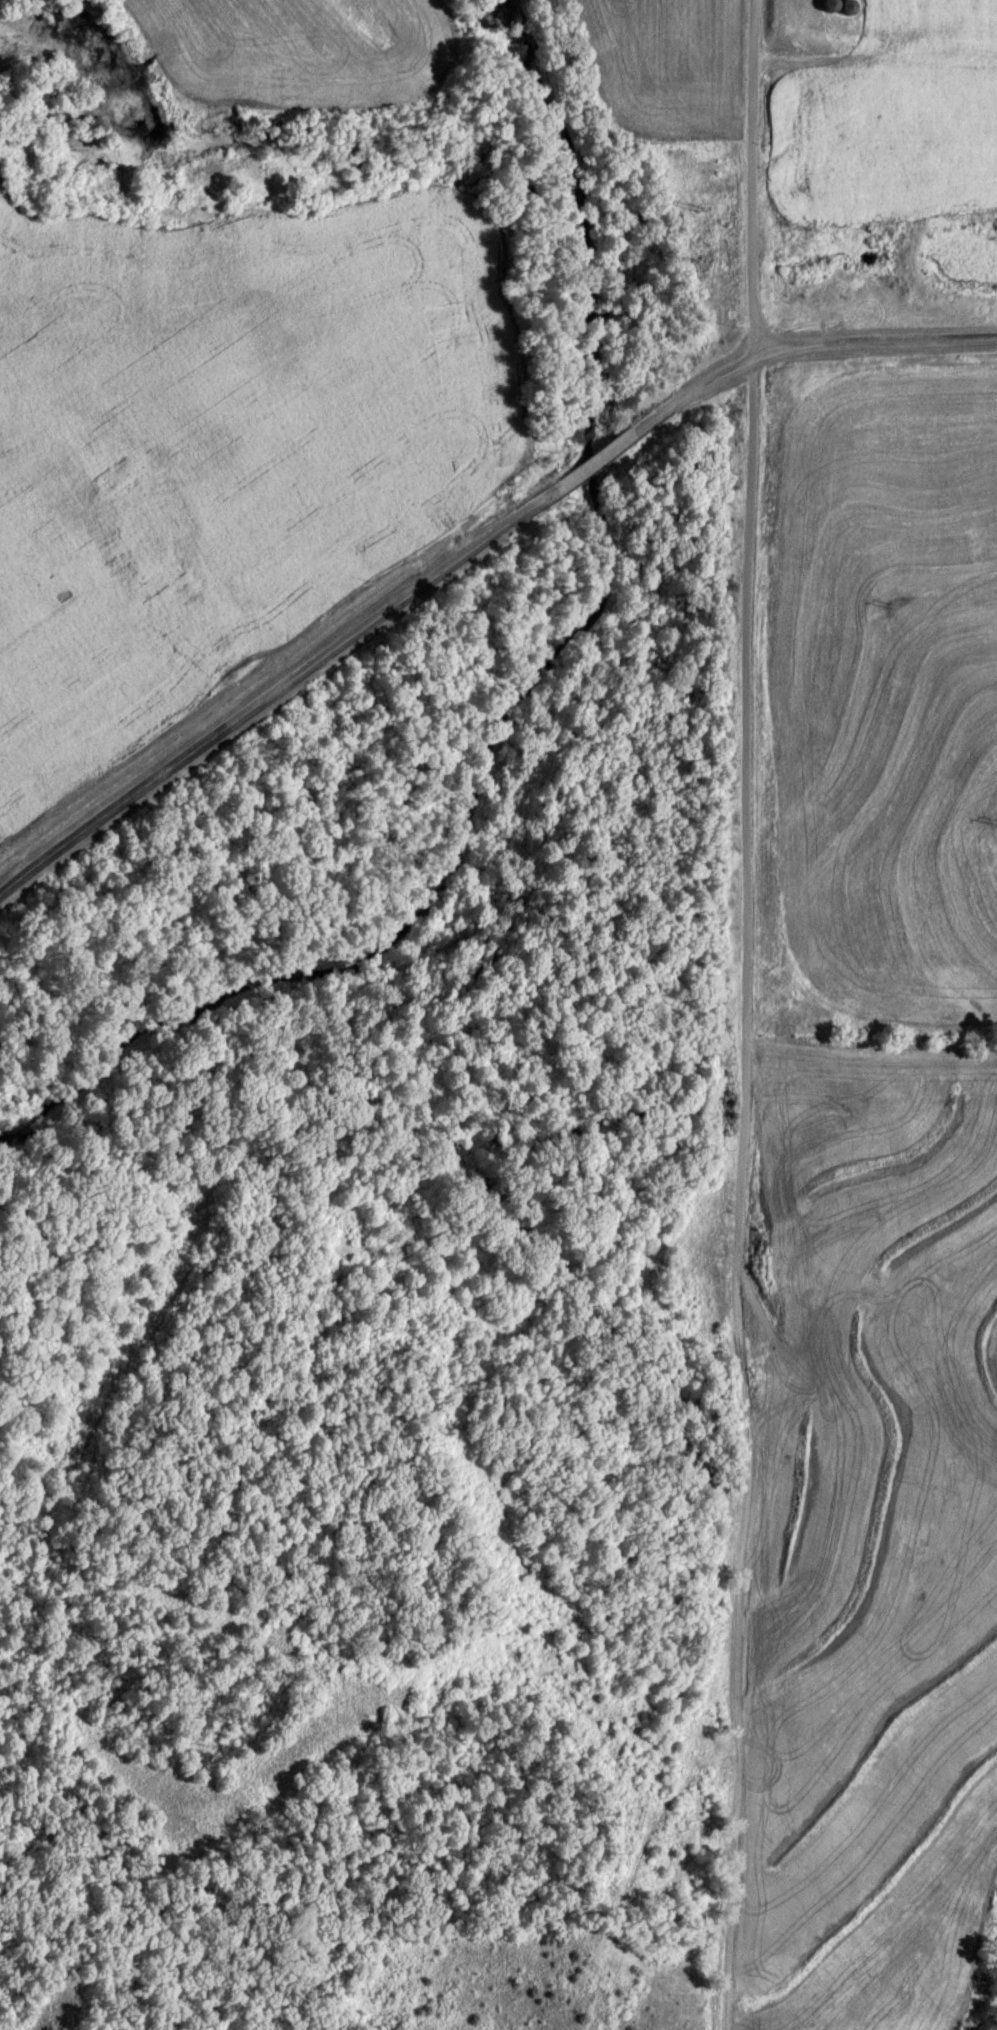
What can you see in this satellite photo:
building: (836, 5)
road: (749, 175)
power tower: (700, 207)
road: (801, 343)
road: (590, 458)
power tower: (892, 601)
road: (274, 685)
building: (800, 1374)

